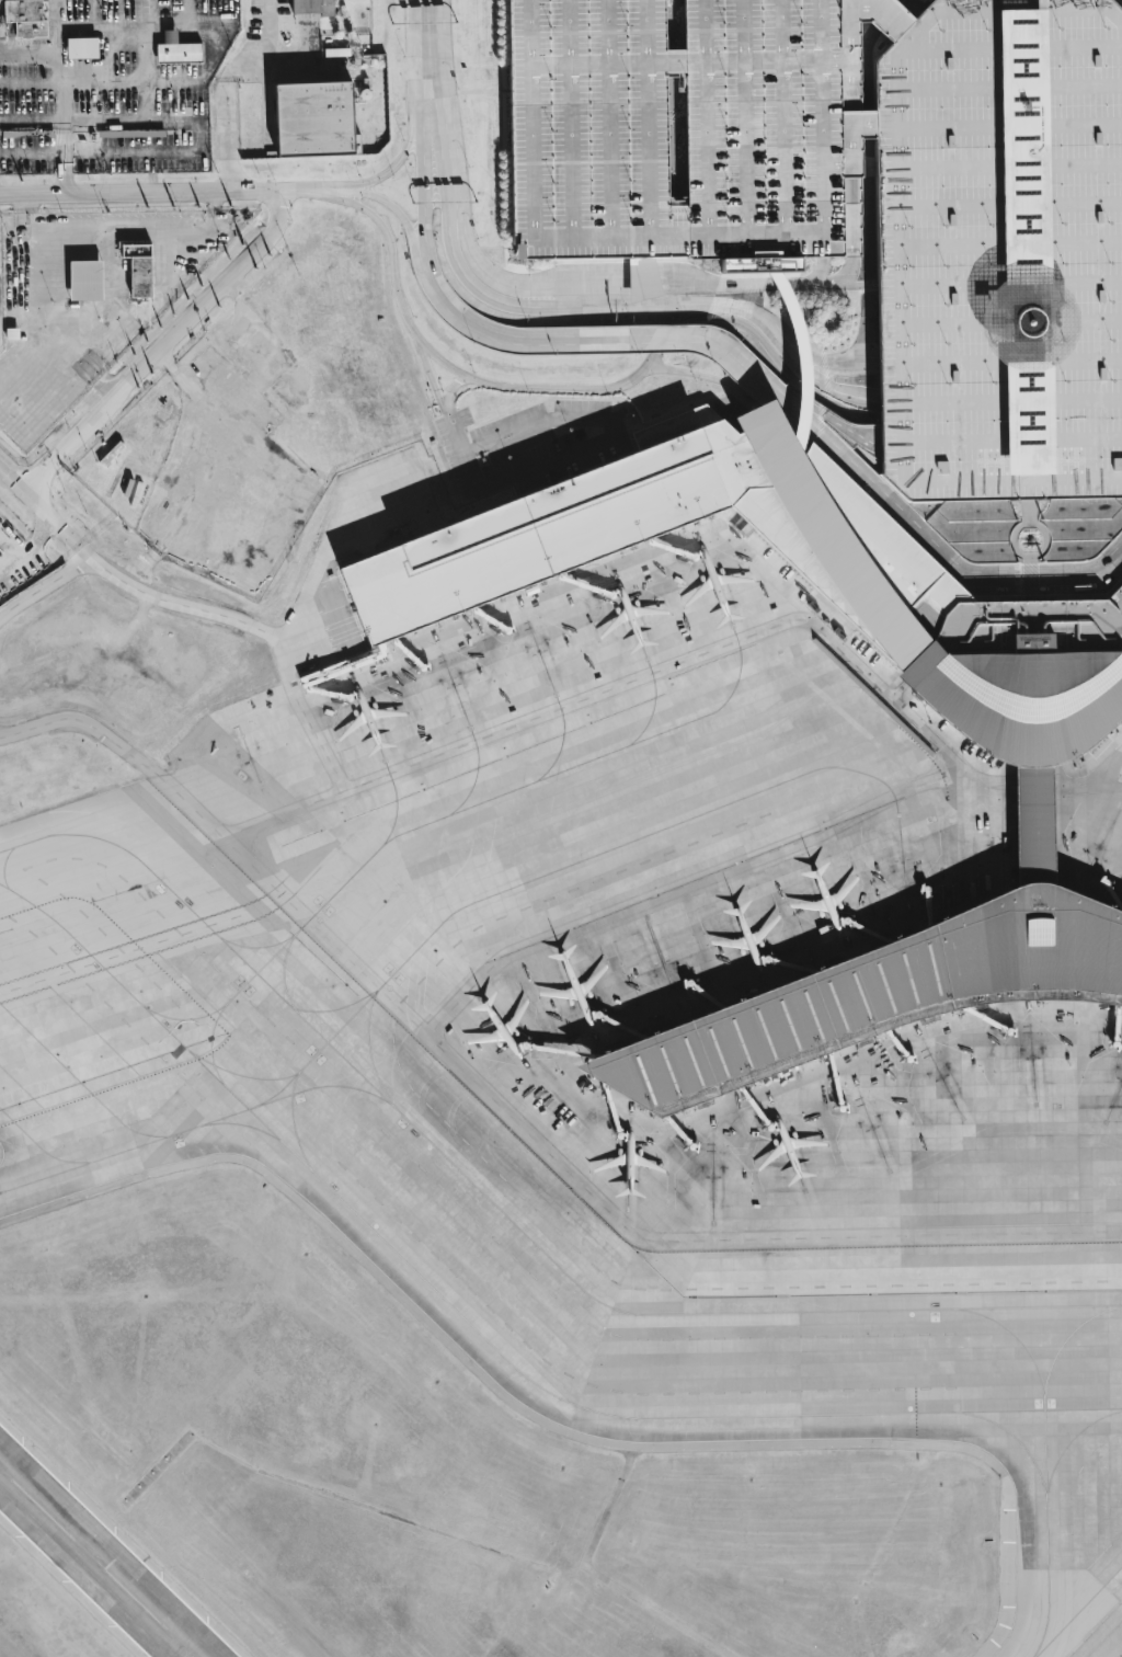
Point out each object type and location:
building: (308, 5)
road: (58, 12)
road: (186, 12)
road: (883, 14)
building: (30, 16)
road: (113, 25)
road: (271, 30)
road: (310, 35)
road: (426, 37)
road: (152, 39)
building: (85, 48)
building: (183, 49)
road: (264, 59)
road: (131, 80)
parking lot: (108, 83)
road: (64, 94)
road: (427, 99)
building: (684, 108)
building: (316, 119)
parking lot: (682, 129)
road: (198, 135)
road: (226, 135)
building: (70, 136)
road: (408, 146)
road: (435, 146)
road: (61, 147)
road: (68, 147)
road: (71, 158)
road: (59, 159)
road: (71, 180)
road: (59, 181)
road: (334, 191)
road: (299, 192)
road: (140, 194)
road: (426, 195)
road: (215, 203)
road: (22, 205)
road: (401, 215)
road: (124, 224)
road: (852, 235)
road: (470, 248)
building: (1003, 250)
parking lot: (1003, 250)
road: (111, 271)
building: (130, 273)
road: (817, 274)
road: (431, 275)
building: (643, 278)
road: (1000, 282)
building: (78, 283)
road: (769, 283)
road: (584, 284)
road: (644, 284)
parking lot: (89, 299)
road: (539, 306)
road: (28, 310)
road: (748, 311)
road: (103, 325)
road: (179, 328)
road: (597, 339)
road: (795, 353)
road: (24, 355)
road: (815, 358)
road: (1001, 365)
road: (836, 368)
road: (867, 368)
road: (1098, 369)
road: (690, 370)
road: (435, 376)
road: (811, 376)
road: (1000, 378)
road: (866, 380)
road: (107, 385)
road: (451, 388)
road: (518, 388)
road: (829, 405)
road: (1001, 405)
road: (824, 416)
road: (612, 425)
road: (1001, 433)
road: (1046, 441)
parking lot: (525, 443)
road: (463, 450)
road: (38, 473)
road: (36, 506)
road: (1042, 528)
road: (927, 537)
road: (31, 538)
road: (1012, 540)
road: (327, 544)
road: (266, 547)
parking lot: (12, 549)
road: (12, 557)
road: (1029, 576)
road: (43, 583)
road: (1029, 596)
road: (256, 629)
road: (638, 676)
airport terminal: (1030, 752)
building: (1030, 752)
road: (1100, 773)
road: (1098, 781)
airport taxiway: (504, 791)
airport apron: (1089, 820)
airport: (561, 828)
airport taxiway: (43, 835)
airport taxiway: (513, 885)
airport taxiway: (213, 929)
road: (141, 945)
airport taxiway: (262, 945)
airport taxiway: (271, 957)
airport apron: (600, 996)
airport taxiway: (296, 1007)
airport taxiway: (184, 1018)
airport taxiway: (369, 1048)
airport taxiway: (241, 1074)
airport taxiway: (78, 1077)
airport taxiway: (321, 1085)
road: (507, 1112)
airport taxiway: (293, 1121)
airport taxiway: (239, 1123)
airport taxiway: (173, 1133)
airport taxiway: (41, 1147)
airport taxiway: (671, 1312)
airport taxiway: (483, 1336)
airport taxiway: (1043, 1405)
airport taxiway: (1045, 1495)
airport taxiway: (1046, 1524)
airport runway: (96, 1563)
airport taxiway: (1077, 1610)
airport apron: (1120, 1655)

